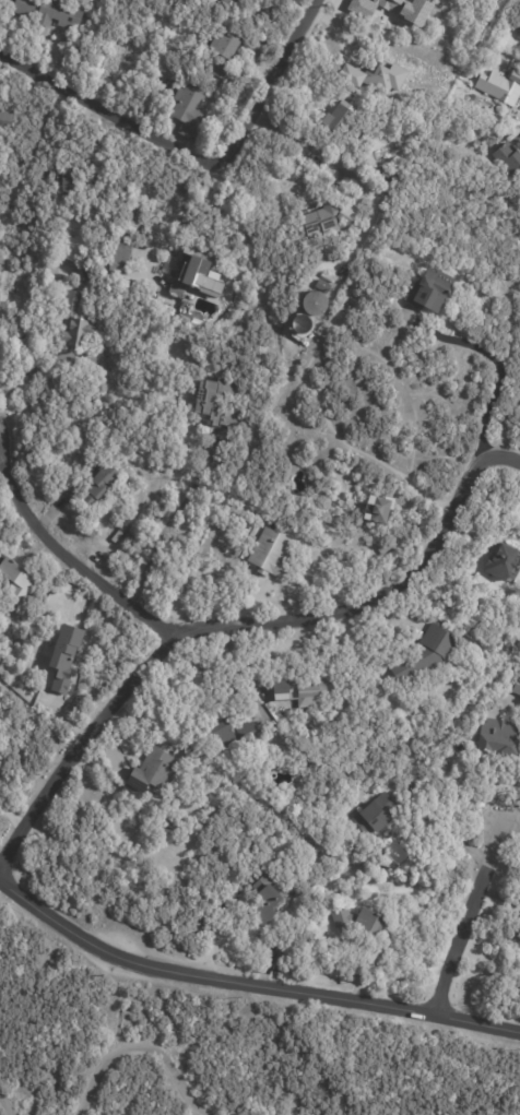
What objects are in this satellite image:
building: (224, 3)
building: (21, 9)
building: (57, 16)
building: (518, 26)
building: (519, 33)
building: (221, 58)
building: (374, 78)
road: (274, 84)
building: (500, 86)
building: (187, 111)
road: (107, 115)
building: (4, 118)
building: (341, 124)
building: (507, 159)
road: (338, 169)
building: (390, 175)
building: (68, 183)
road: (164, 218)
building: (328, 220)
building: (131, 222)
building: (118, 259)
building: (199, 273)
building: (80, 275)
building: (321, 286)
building: (428, 292)
building: (154, 300)
building: (315, 305)
building: (73, 320)
building: (305, 328)
road: (494, 358)
road: (27, 373)
building: (217, 404)
building: (96, 487)
building: (376, 511)
road: (173, 519)
building: (383, 549)
road: (66, 550)
building: (269, 554)
building: (498, 566)
building: (15, 584)
road: (255, 619)
building: (63, 656)
building: (421, 657)
road: (221, 679)
building: (302, 695)
building: (228, 735)
building: (497, 739)
building: (149, 773)
building: (375, 818)
road: (511, 821)
building: (167, 826)
building: (131, 890)
building: (265, 900)
road: (466, 915)
building: (358, 924)
building: (513, 938)
building: (315, 944)
road: (253, 975)

